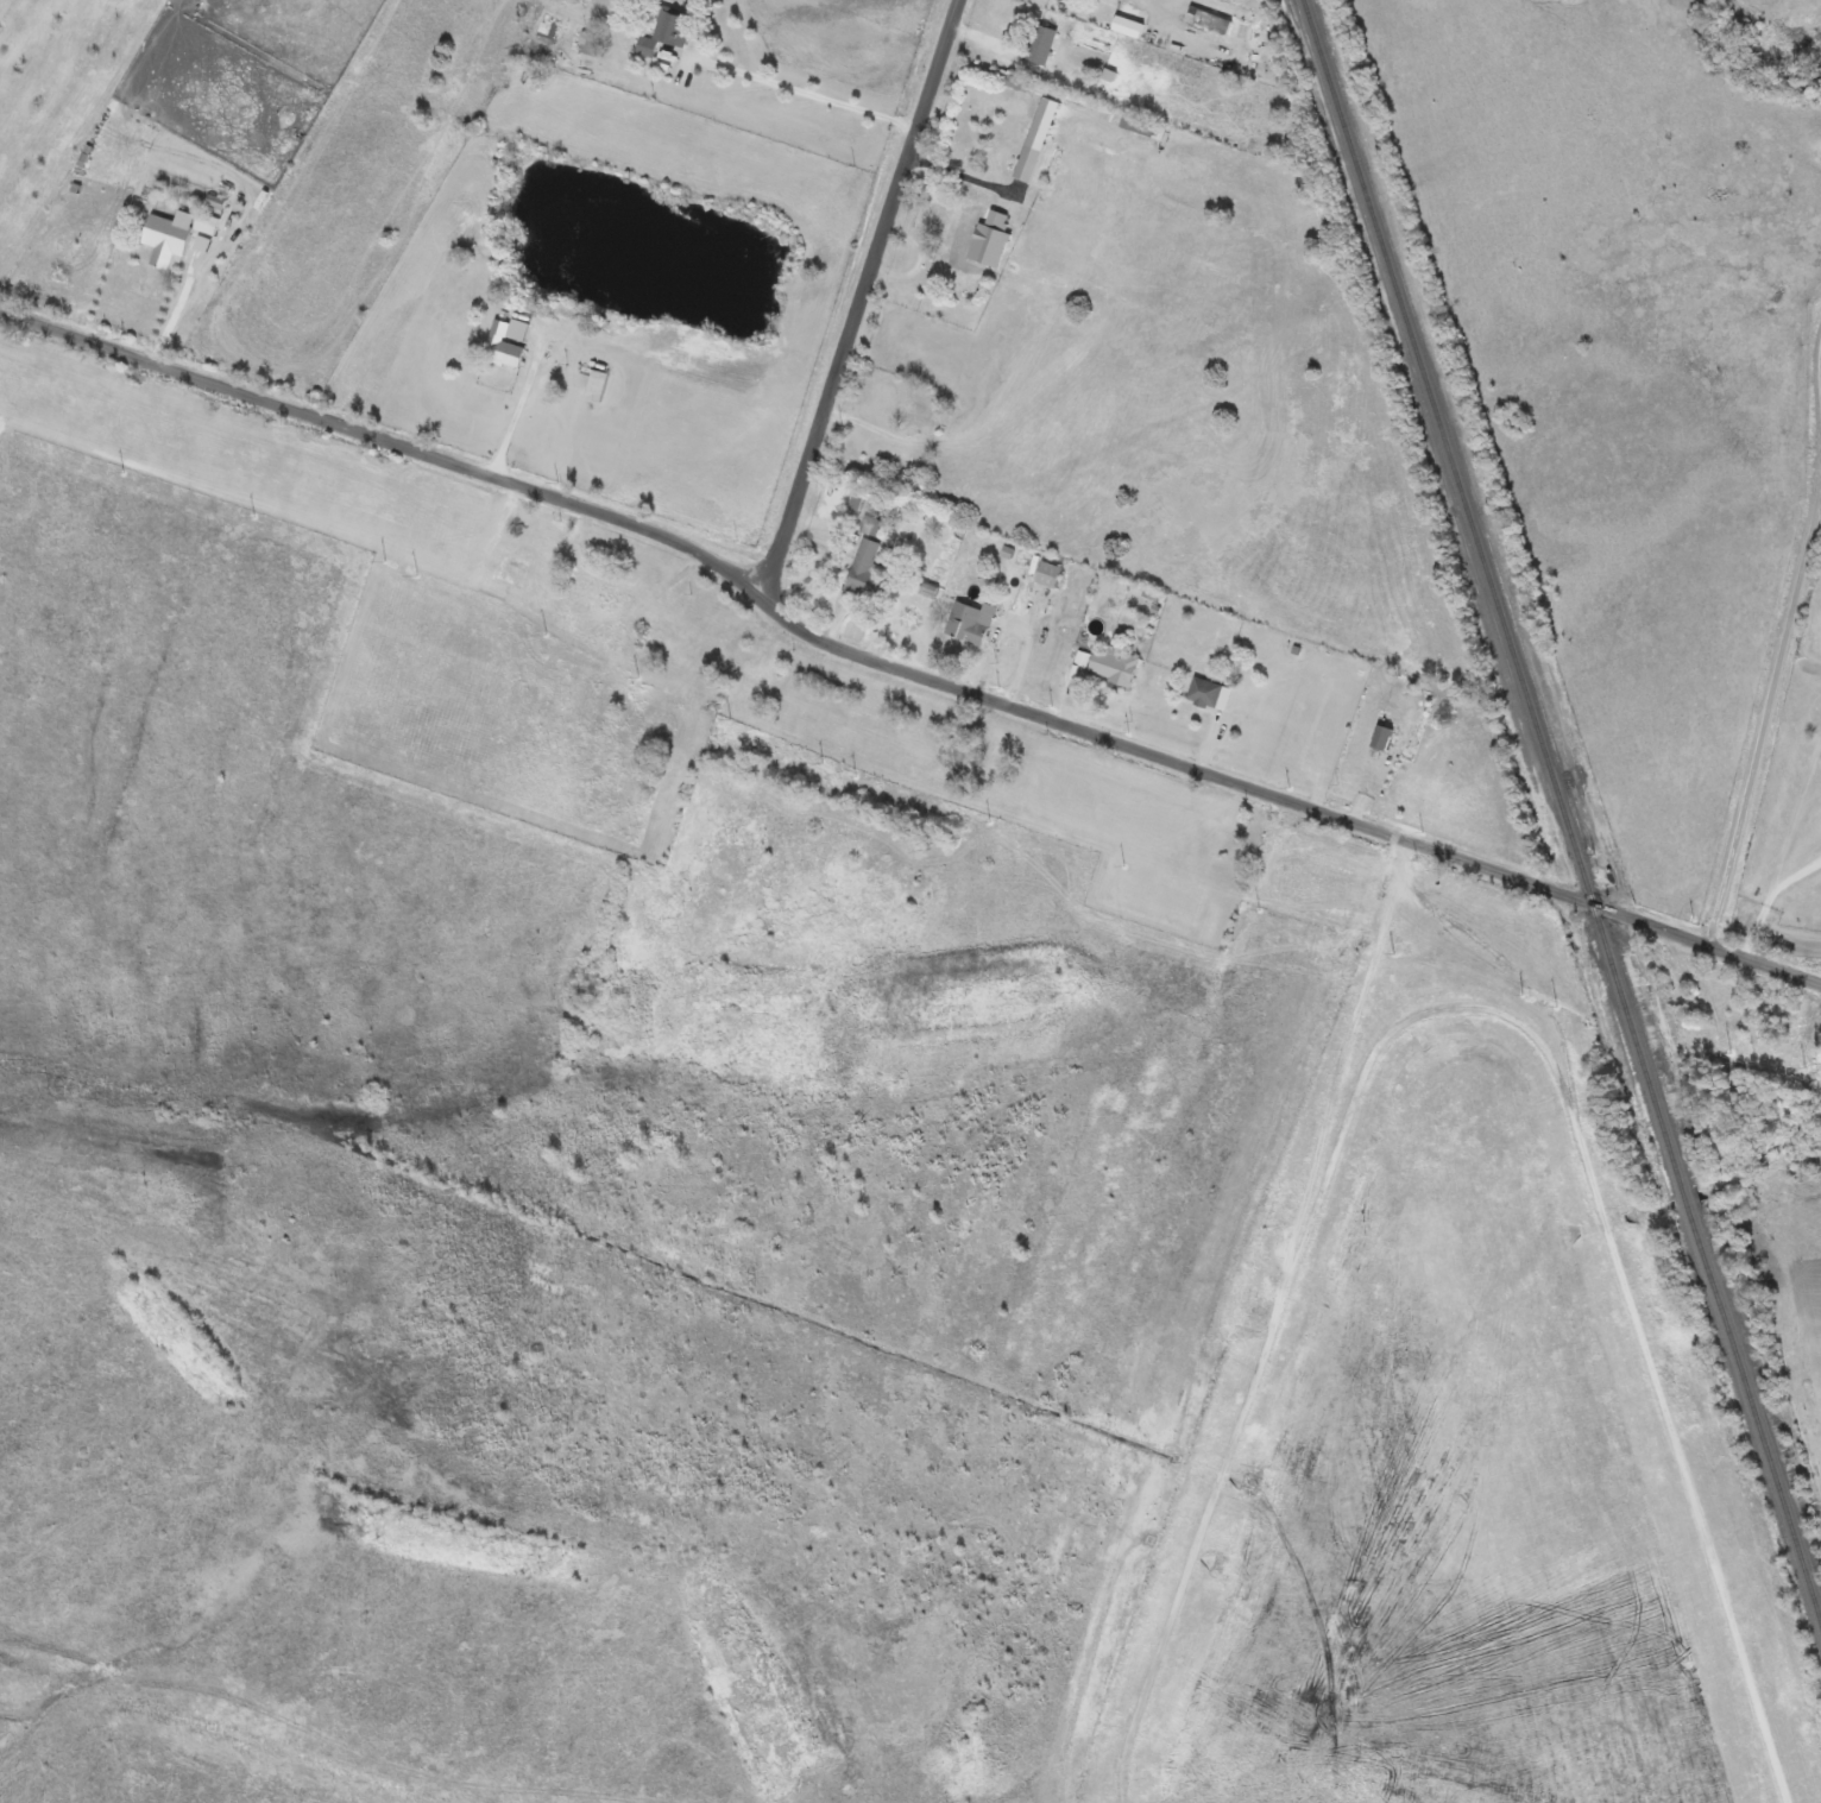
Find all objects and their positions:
building: (1067, 0)
building: (667, 31)
building: (1041, 44)
road: (806, 94)
building: (1039, 134)
building: (1028, 163)
building: (962, 235)
building: (168, 240)
road: (857, 298)
building: (503, 347)
building: (597, 386)
road: (517, 412)
building: (912, 418)
building: (872, 527)
building: (869, 572)
building: (1050, 575)
building: (606, 587)
building: (971, 623)
building: (647, 632)
road: (1781, 643)
building: (1114, 666)
road: (896, 674)
building: (1210, 694)
building: (648, 732)
building: (1382, 738)
building: (679, 777)
railway: (1562, 805)
road: (1794, 826)
building: (1224, 830)
road: (1770, 902)

